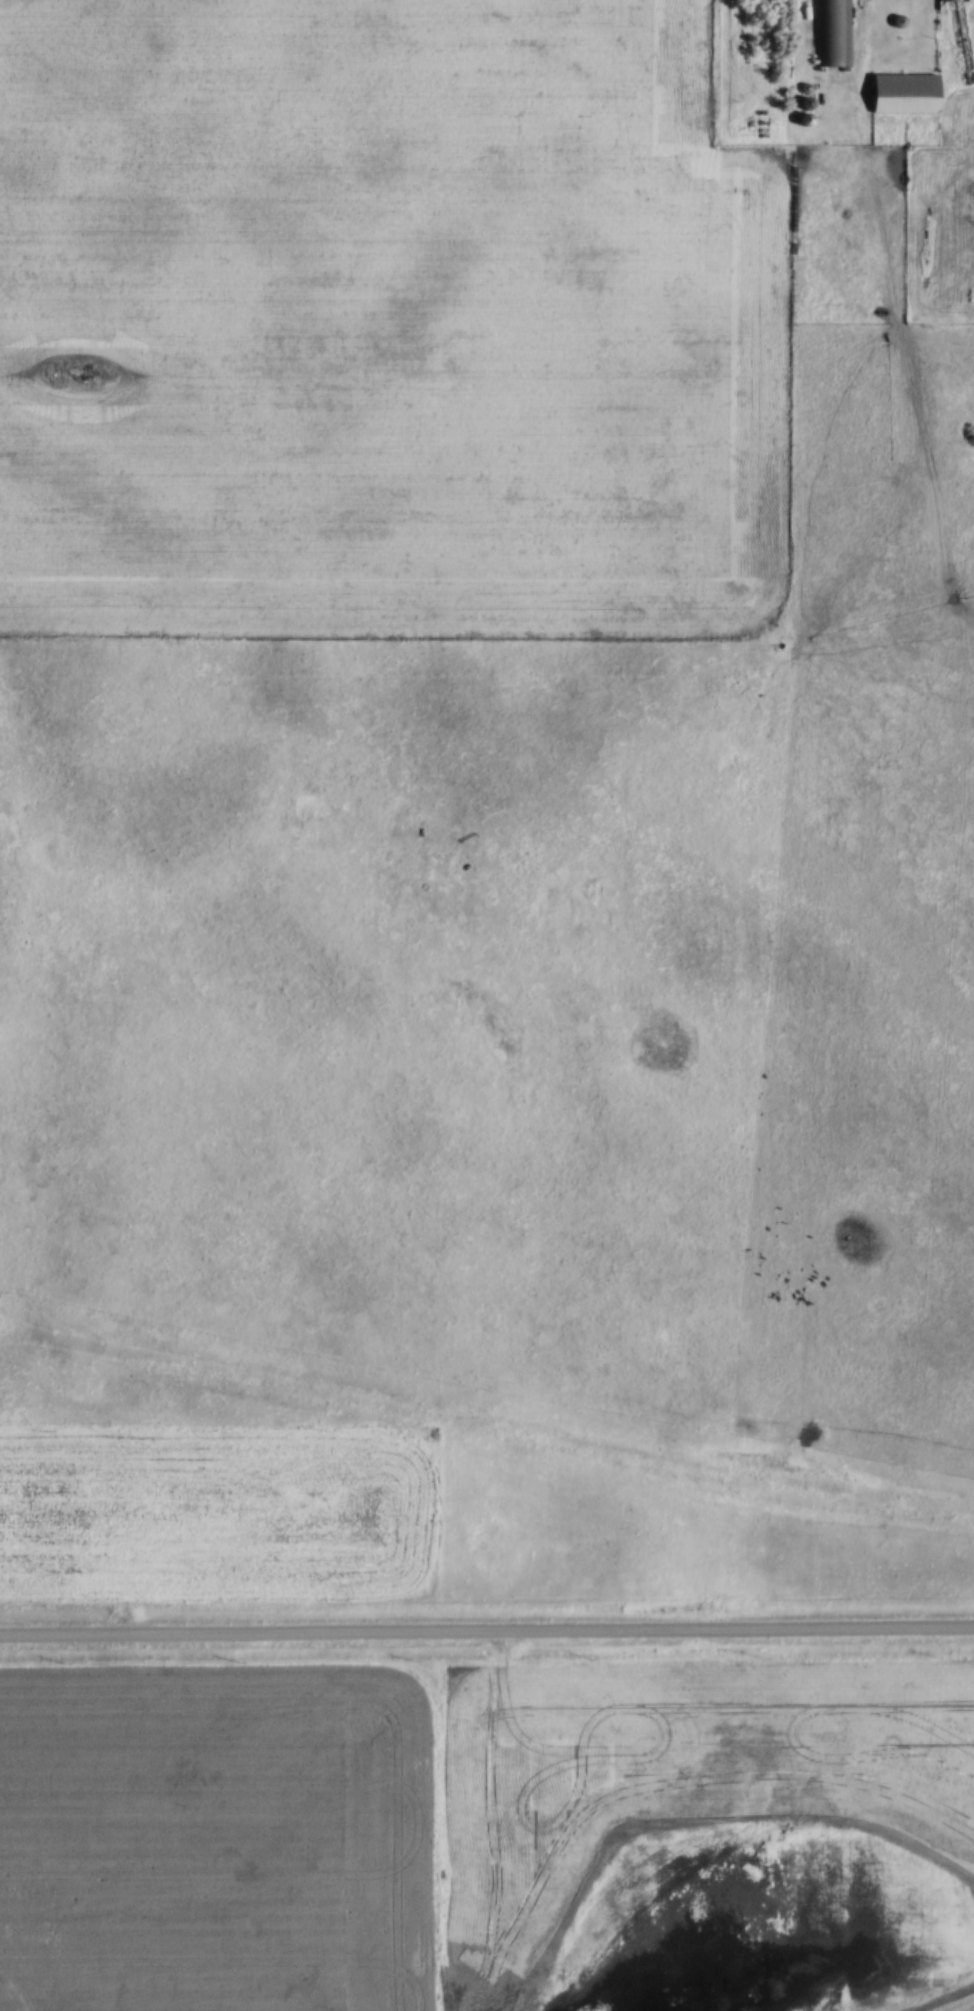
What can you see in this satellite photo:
building: (834, 30)
building: (905, 92)
road: (487, 1634)

